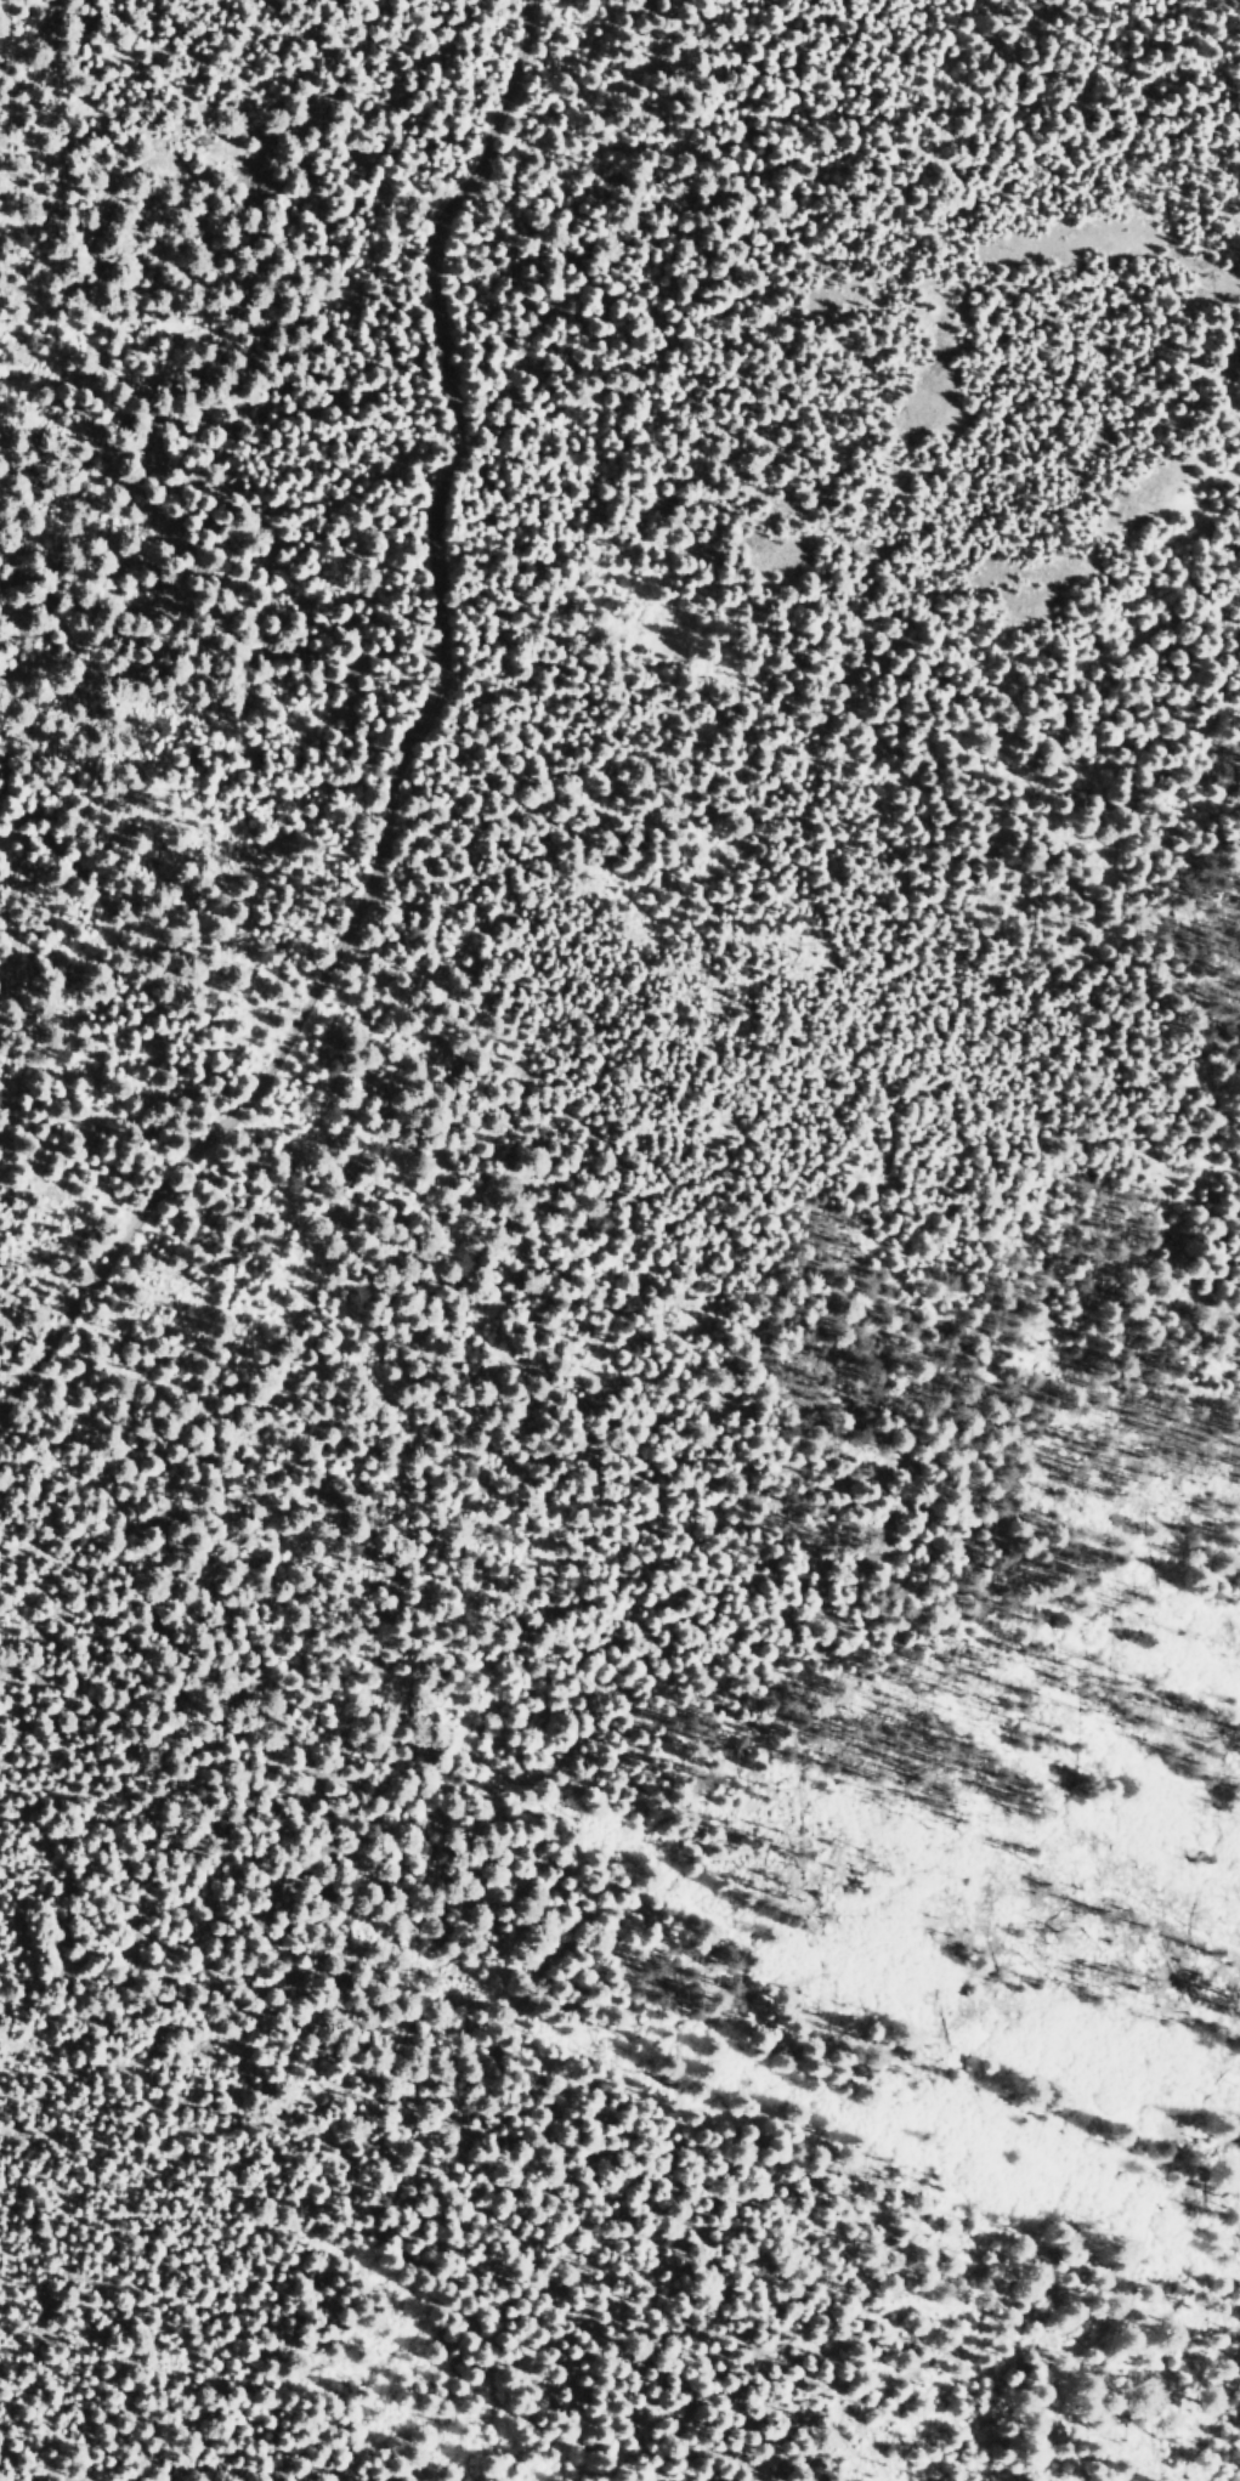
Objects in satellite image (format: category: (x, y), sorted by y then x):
road: (400, 741)
road: (1133, 2294)

